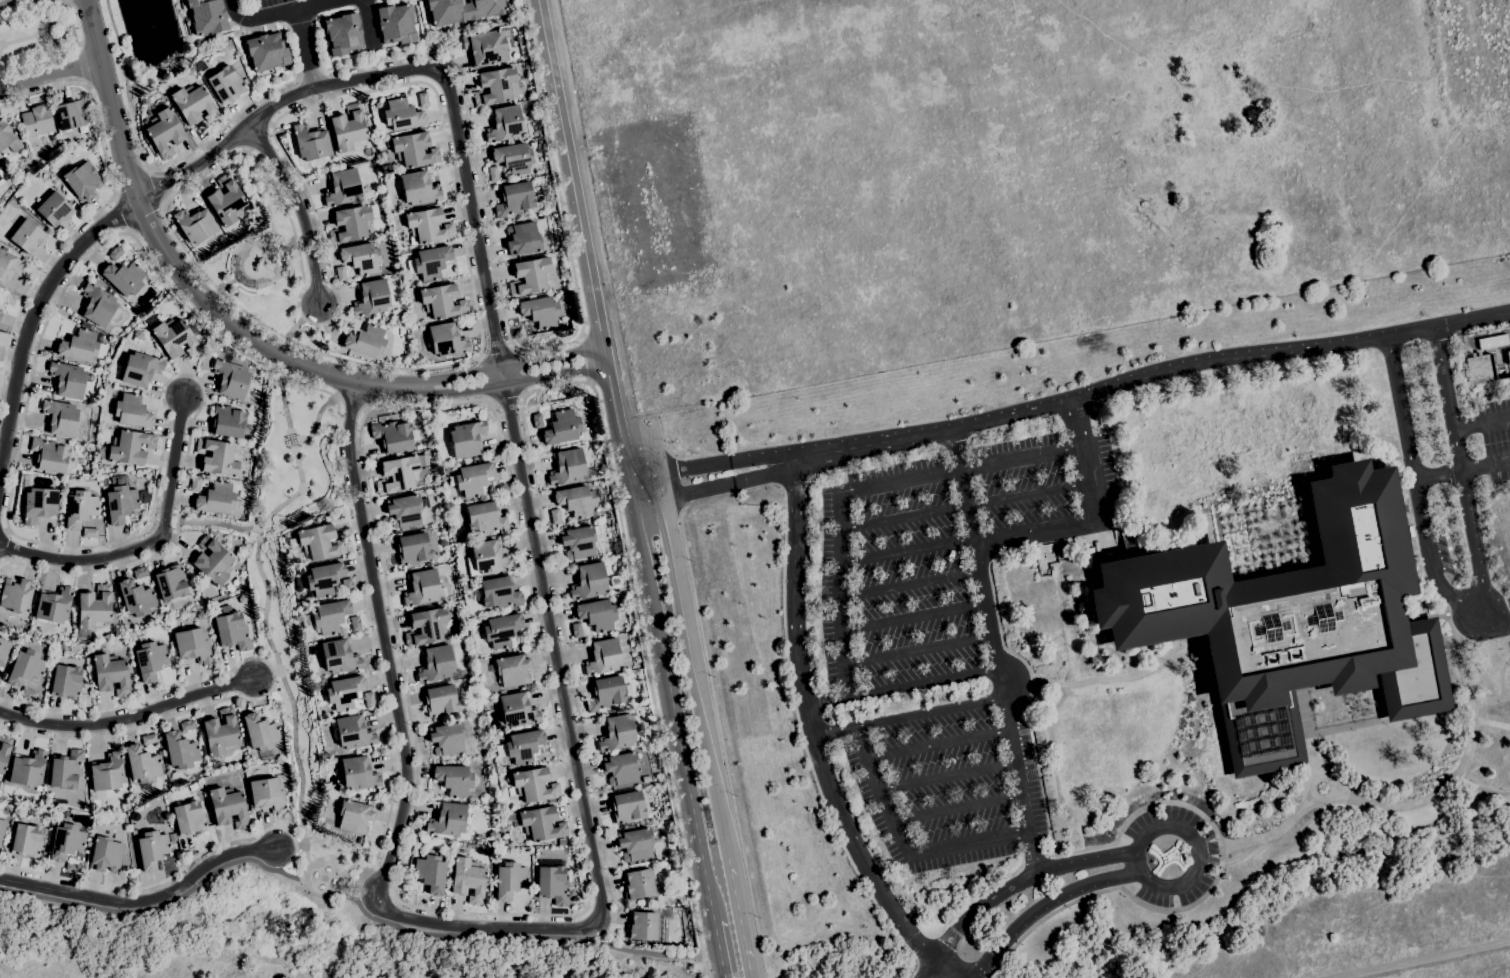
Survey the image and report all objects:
road: (6, 1)
building: (463, 10)
road: (280, 13)
building: (207, 16)
road: (367, 23)
building: (395, 24)
building: (343, 34)
park: (38, 37)
building: (487, 46)
road: (305, 49)
building: (266, 52)
road: (425, 67)
road: (349, 68)
road: (50, 76)
building: (226, 84)
building: (522, 84)
building: (495, 86)
building: (422, 99)
building: (144, 101)
building: (193, 104)
building: (70, 114)
building: (401, 115)
building: (37, 121)
building: (504, 124)
building: (348, 128)
building: (164, 132)
building: (8, 137)
building: (311, 142)
building: (413, 149)
building: (513, 158)
building: (493, 174)
building: (82, 180)
road: (132, 184)
building: (342, 187)
road: (154, 188)
building: (418, 188)
building: (514, 199)
building: (226, 201)
road: (560, 201)
road: (104, 205)
road: (298, 207)
building: (54, 209)
road: (122, 212)
road: (146, 216)
building: (350, 224)
building: (195, 225)
building: (427, 225)
building: (27, 236)
building: (522, 238)
building: (224, 239)
building: (115, 253)
building: (361, 257)
road: (585, 257)
building: (429, 262)
road: (174, 264)
building: (9, 266)
building: (340, 273)
building: (530, 276)
building: (124, 277)
road: (59, 296)
building: (371, 298)
building: (442, 301)
building: (97, 305)
building: (0, 310)
building: (540, 311)
building: (0, 314)
road: (258, 320)
road: (35, 321)
road: (296, 329)
building: (204, 333)
building: (138, 334)
building: (175, 338)
building: (445, 340)
building: (365, 341)
building: (1492, 342)
building: (82, 346)
road: (497, 352)
road: (585, 360)
road: (508, 366)
building: (1479, 368)
building: (141, 369)
road: (1148, 376)
building: (230, 378)
building: (69, 379)
road: (509, 382)
road: (583, 382)
road: (506, 397)
road: (353, 401)
building: (555, 406)
building: (132, 411)
building: (60, 417)
building: (227, 421)
road: (316, 421)
building: (537, 421)
road: (1078, 423)
road: (1481, 423)
building: (562, 427)
building: (394, 436)
building: (466, 438)
building: (127, 447)
building: (49, 455)
building: (218, 457)
road: (712, 464)
building: (570, 468)
road: (1460, 470)
road: (1462, 470)
building: (427, 471)
building: (400, 473)
building: (473, 479)
building: (69, 480)
building: (195, 484)
road: (1416, 486)
road: (718, 487)
road: (859, 488)
building: (145, 497)
building: (216, 499)
building: (120, 500)
building: (575, 500)
road: (679, 502)
building: (39, 504)
road: (964, 504)
building: (79, 508)
building: (404, 511)
building: (555, 516)
building: (485, 518)
road: (219, 525)
road: (1074, 529)
building: (90, 532)
building: (581, 541)
road: (151, 542)
building: (291, 542)
building: (319, 542)
building: (412, 548)
building: (616, 549)
road: (903, 550)
building: (486, 559)
road: (1454, 559)
building: (213, 561)
building: (298, 571)
building: (140, 572)
building: (323, 579)
building: (296, 581)
building: (588, 581)
building: (171, 582)
road: (907, 582)
building: (347, 585)
building: (298, 588)
building: (421, 588)
building: (499, 592)
building: (16, 595)
building: (136, 598)
road: (1451, 603)
building: (54, 605)
building: (94, 608)
building: (597, 614)
road: (1445, 614)
building: (201, 616)
building: (330, 616)
road: (911, 617)
road: (1495, 619)
road: (267, 620)
building: (1288, 620)
building: (305, 621)
building: (355, 623)
building: (426, 627)
building: (3, 629)
building: (501, 630)
building: (576, 630)
building: (232, 631)
building: (14, 636)
building: (192, 645)
road: (916, 650)
building: (4, 651)
road: (993, 654)
building: (339, 657)
building: (602, 657)
building: (149, 660)
building: (435, 664)
building: (25, 667)
building: (512, 670)
parking lot: (923, 673)
building: (110, 674)
road: (273, 675)
road: (1501, 677)
road: (279, 679)
building: (66, 681)
road: (694, 681)
road: (902, 685)
building: (316, 686)
building: (344, 692)
building: (27, 693)
building: (605, 693)
building: (369, 699)
building: (440, 700)
road: (1480, 703)
building: (517, 710)
road: (906, 715)
road: (128, 717)
road: (673, 717)
building: (186, 725)
building: (260, 732)
building: (220, 733)
building: (353, 733)
building: (617, 733)
road: (813, 738)
building: (148, 739)
building: (447, 739)
road: (721, 742)
road: (938, 742)
building: (523, 746)
building: (4, 750)
building: (180, 750)
building: (142, 764)
building: (620, 768)
building: (28, 769)
building: (66, 770)
building: (107, 772)
building: (358, 773)
road: (947, 776)
building: (453, 779)
building: (533, 785)
road: (1445, 790)
building: (267, 795)
building: (372, 796)
road: (1043, 801)
building: (228, 807)
building: (627, 807)
building: (94, 808)
building: (34, 810)
road: (958, 810)
building: (487, 811)
building: (135, 814)
building: (354, 817)
building: (189, 818)
building: (447, 820)
building: (541, 823)
building: (2, 828)
road: (1283, 833)
building: (493, 836)
building: (26, 840)
road: (1199, 841)
building: (66, 842)
building: (561, 842)
building: (635, 844)
road: (289, 846)
road: (905, 847)
building: (151, 849)
building: (105, 854)
building: (125, 863)
building: (73, 867)
building: (430, 873)
building: (467, 880)
building: (509, 880)
road: (160, 881)
building: (553, 883)
road: (1009, 883)
building: (638, 884)
road: (14, 892)
road: (1204, 894)
road: (142, 900)
road: (50, 903)
road: (1046, 909)
road: (558, 914)
road: (614, 918)
road: (739, 918)
road: (373, 919)
building: (642, 926)
road: (495, 927)
park: (283, 941)
road: (719, 950)
road: (1437, 963)

